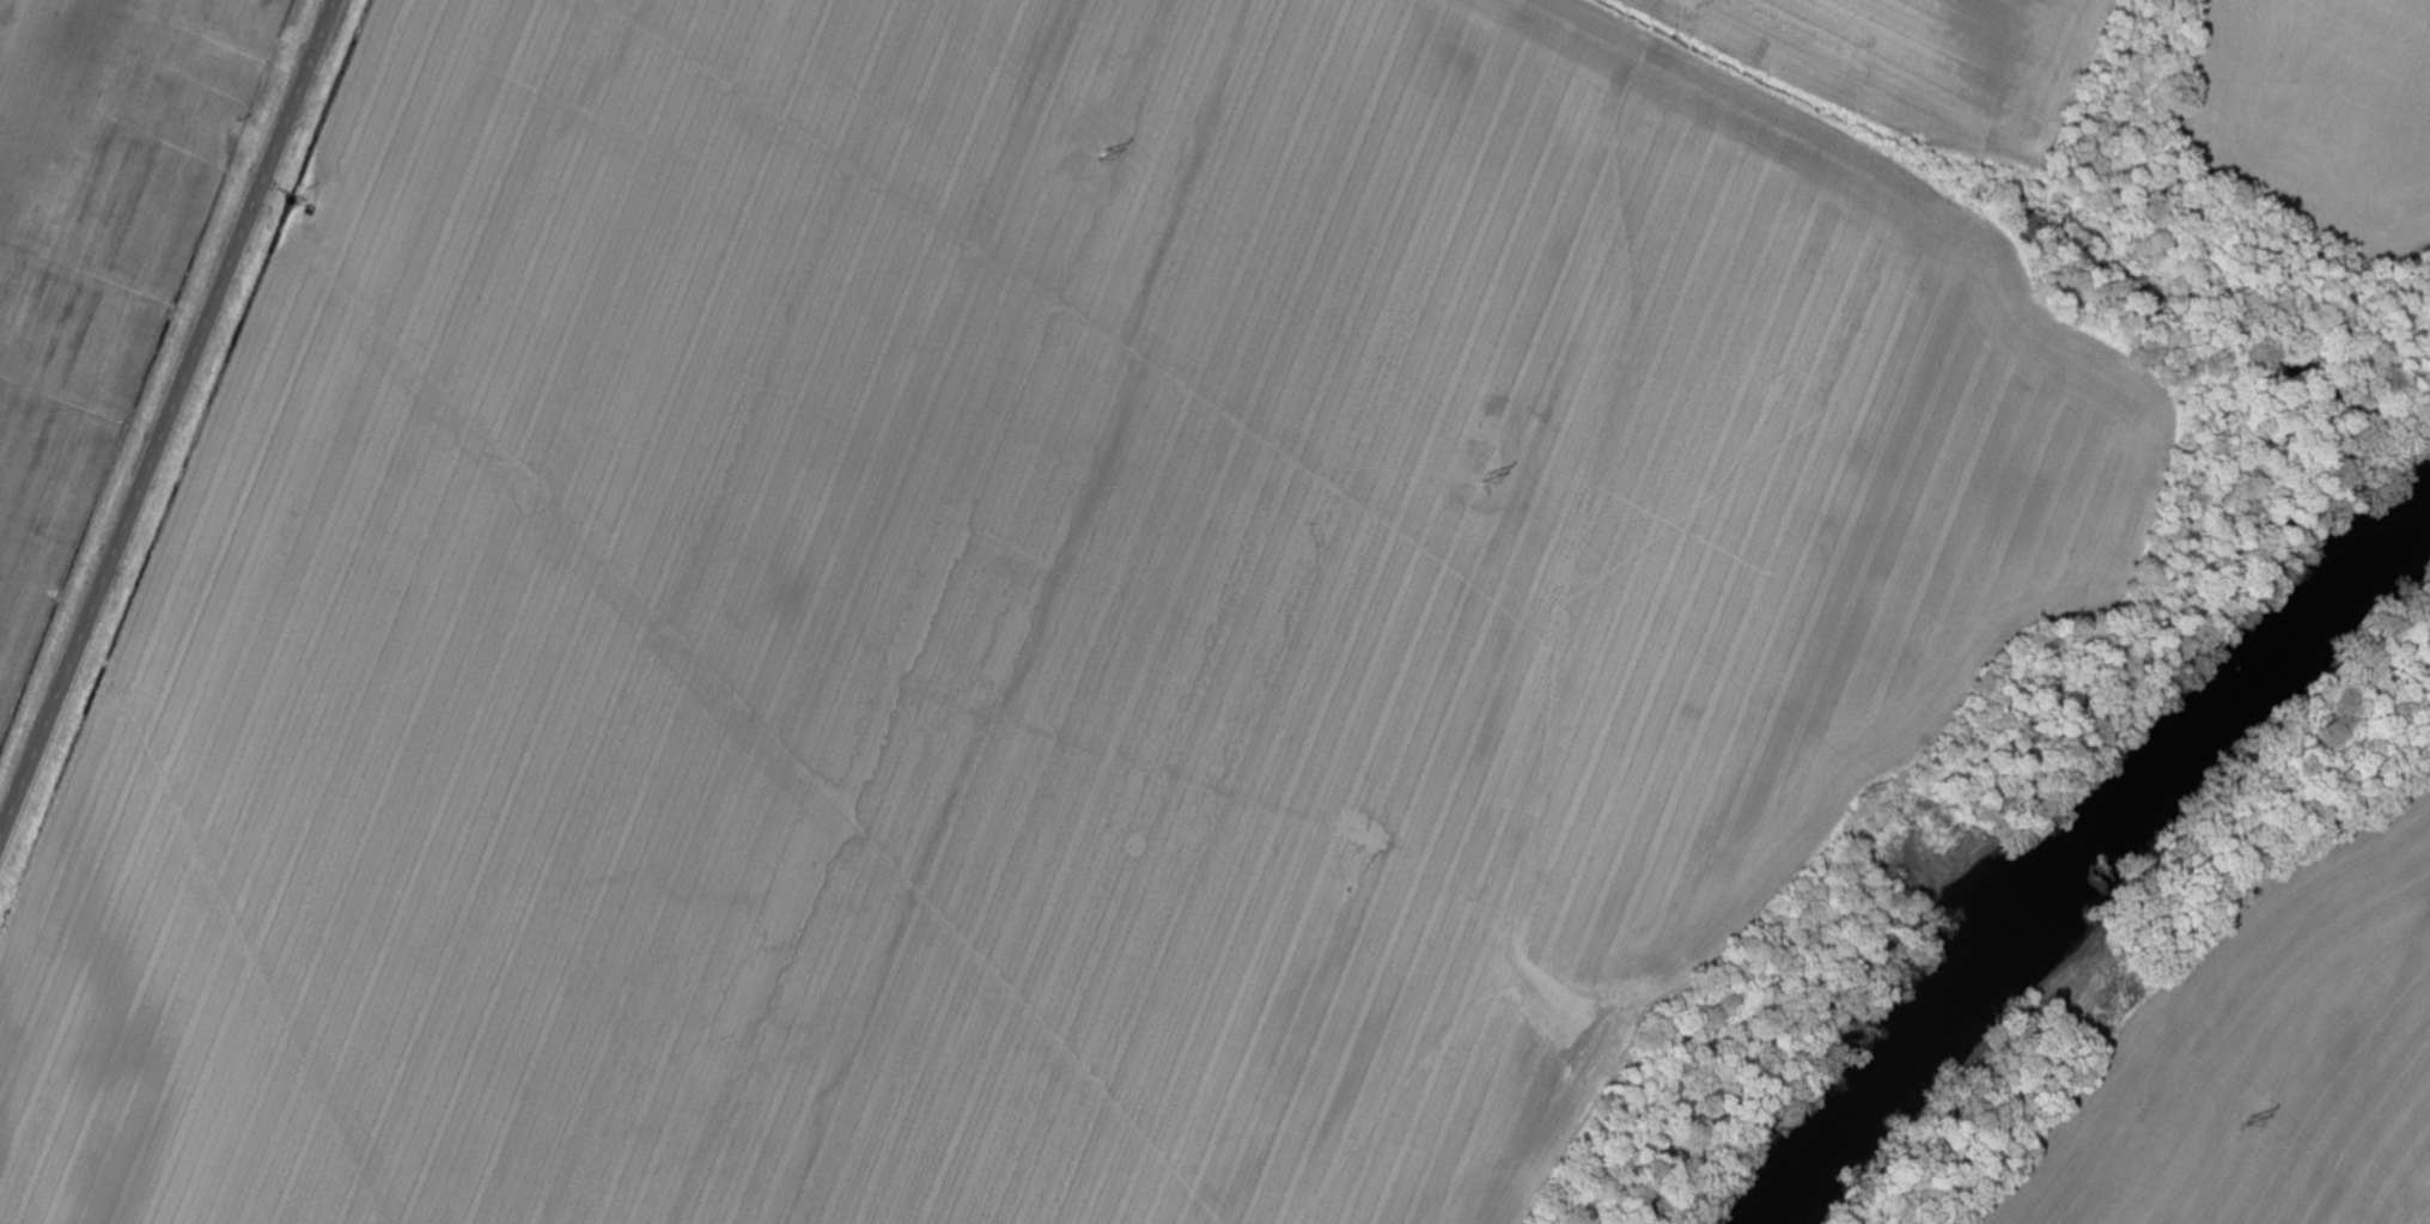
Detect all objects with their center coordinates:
road: (168, 421)
river: (2081, 854)

